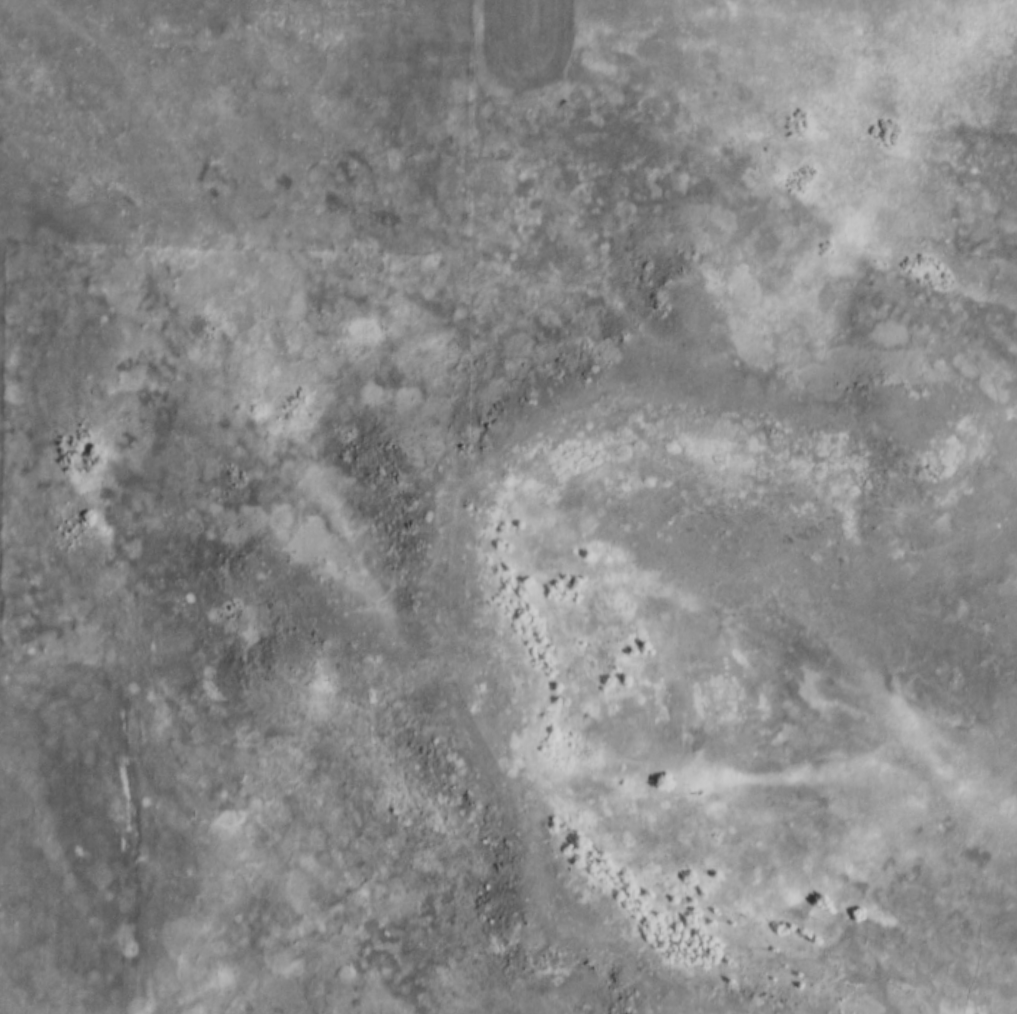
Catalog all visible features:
road: (863, 134)

